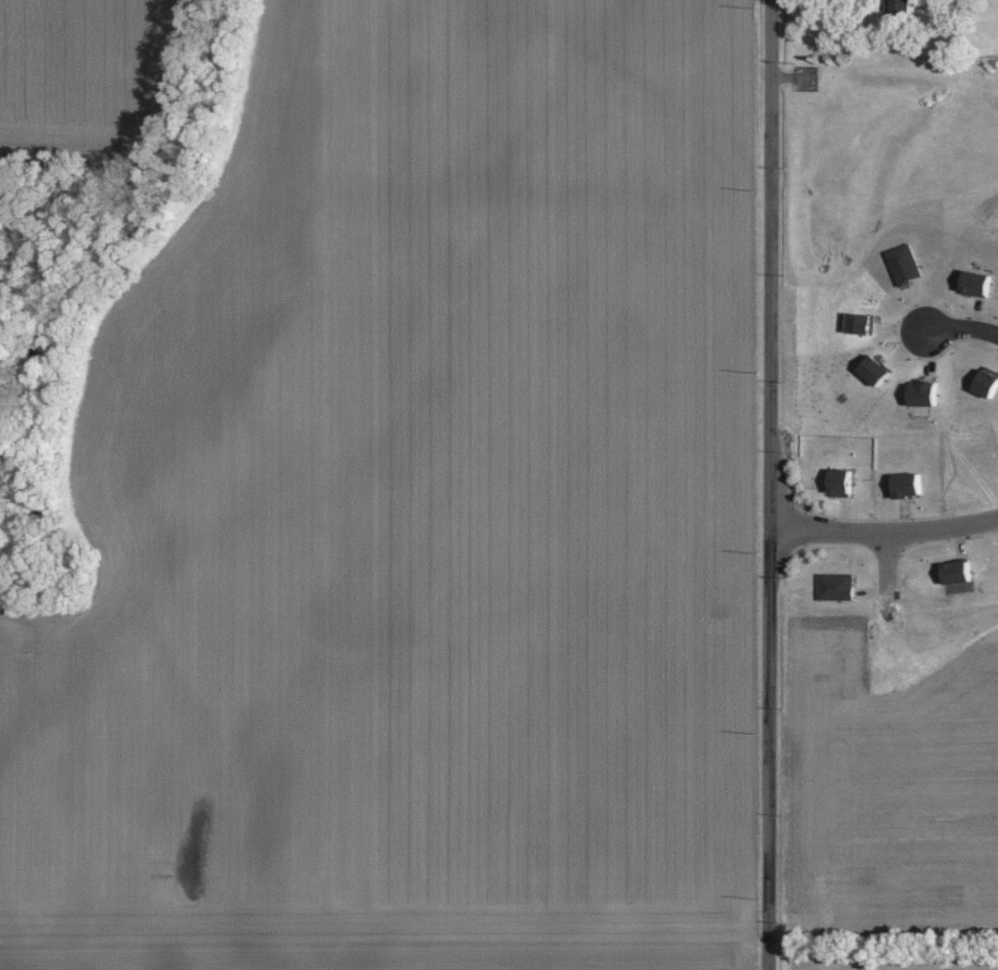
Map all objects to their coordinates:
building: (904, 6)
building: (906, 264)
building: (978, 283)
building: (863, 324)
road: (960, 326)
building: (878, 370)
building: (988, 383)
building: (925, 395)
building: (844, 483)
road: (766, 485)
building: (910, 485)
road: (882, 530)
road: (884, 563)
building: (958, 573)
building: (837, 587)

